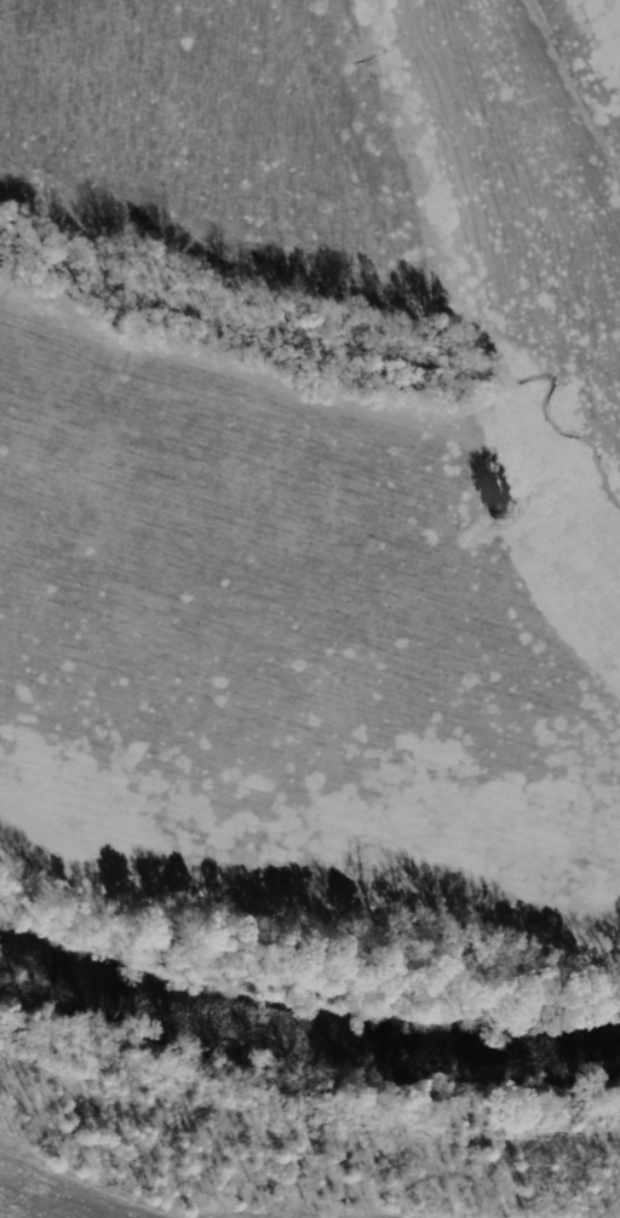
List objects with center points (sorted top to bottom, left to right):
river: (304, 1035)

